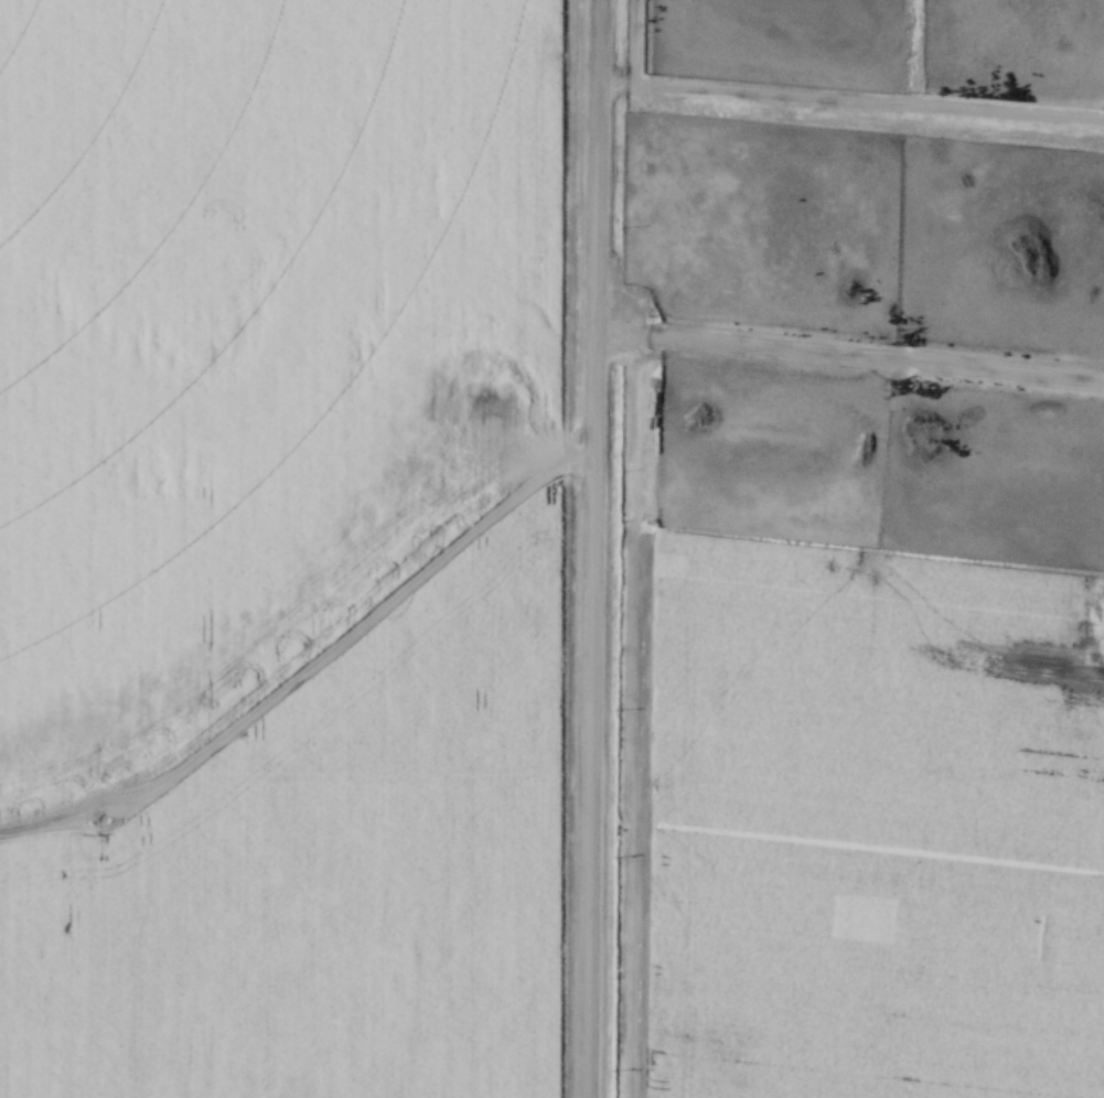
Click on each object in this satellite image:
road: (586, 549)

